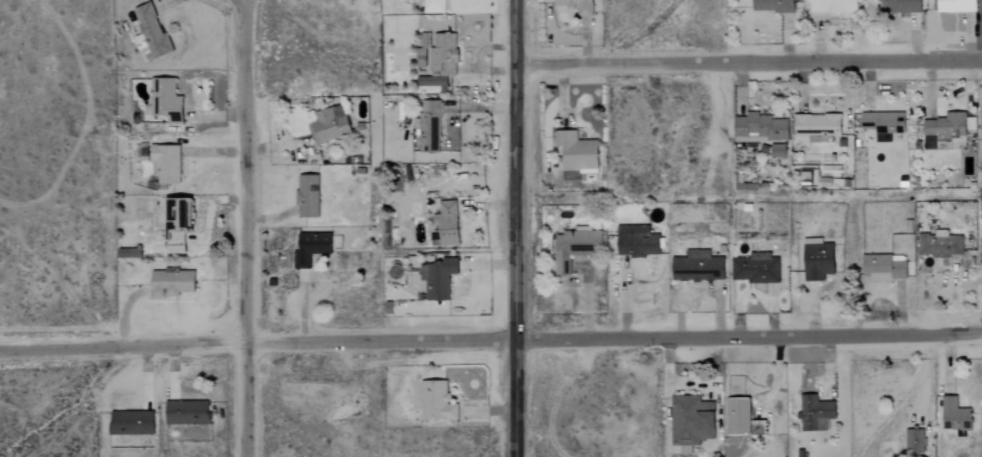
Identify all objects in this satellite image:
building: (773, 5)
building: (433, 6)
building: (576, 6)
building: (833, 6)
building: (906, 6)
building: (956, 6)
building: (151, 33)
building: (443, 54)
road: (748, 63)
building: (166, 100)
building: (884, 123)
building: (329, 125)
building: (428, 125)
building: (981, 125)
building: (760, 127)
building: (818, 127)
building: (946, 127)
building: (777, 151)
building: (577, 152)
building: (166, 163)
building: (307, 196)
building: (177, 223)
building: (447, 223)
road: (246, 228)
road: (513, 228)
building: (637, 241)
building: (940, 246)
building: (576, 247)
building: (311, 248)
building: (129, 250)
building: (819, 260)
building: (700, 267)
building: (884, 267)
building: (758, 268)
building: (438, 278)
building: (171, 284)
road: (490, 340)
building: (433, 400)
building: (186, 413)
building: (816, 413)
building: (955, 415)
building: (740, 416)
building: (694, 422)
building: (131, 423)
building: (760, 428)
building: (915, 441)

